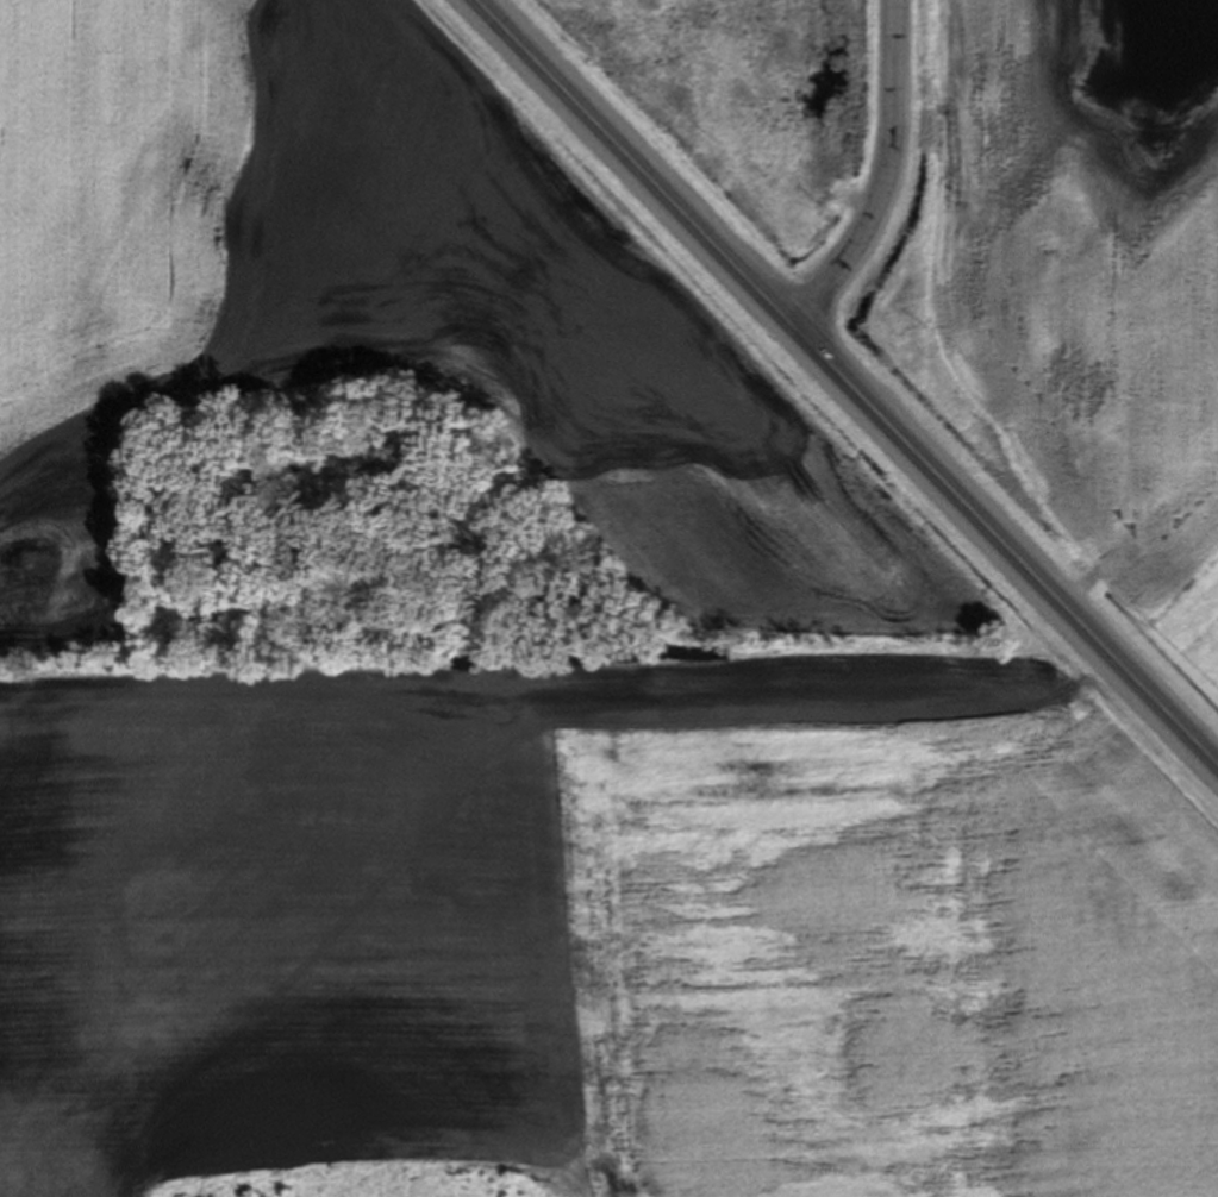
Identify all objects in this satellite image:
road: (632, 157)
road: (887, 176)
road: (1000, 539)

